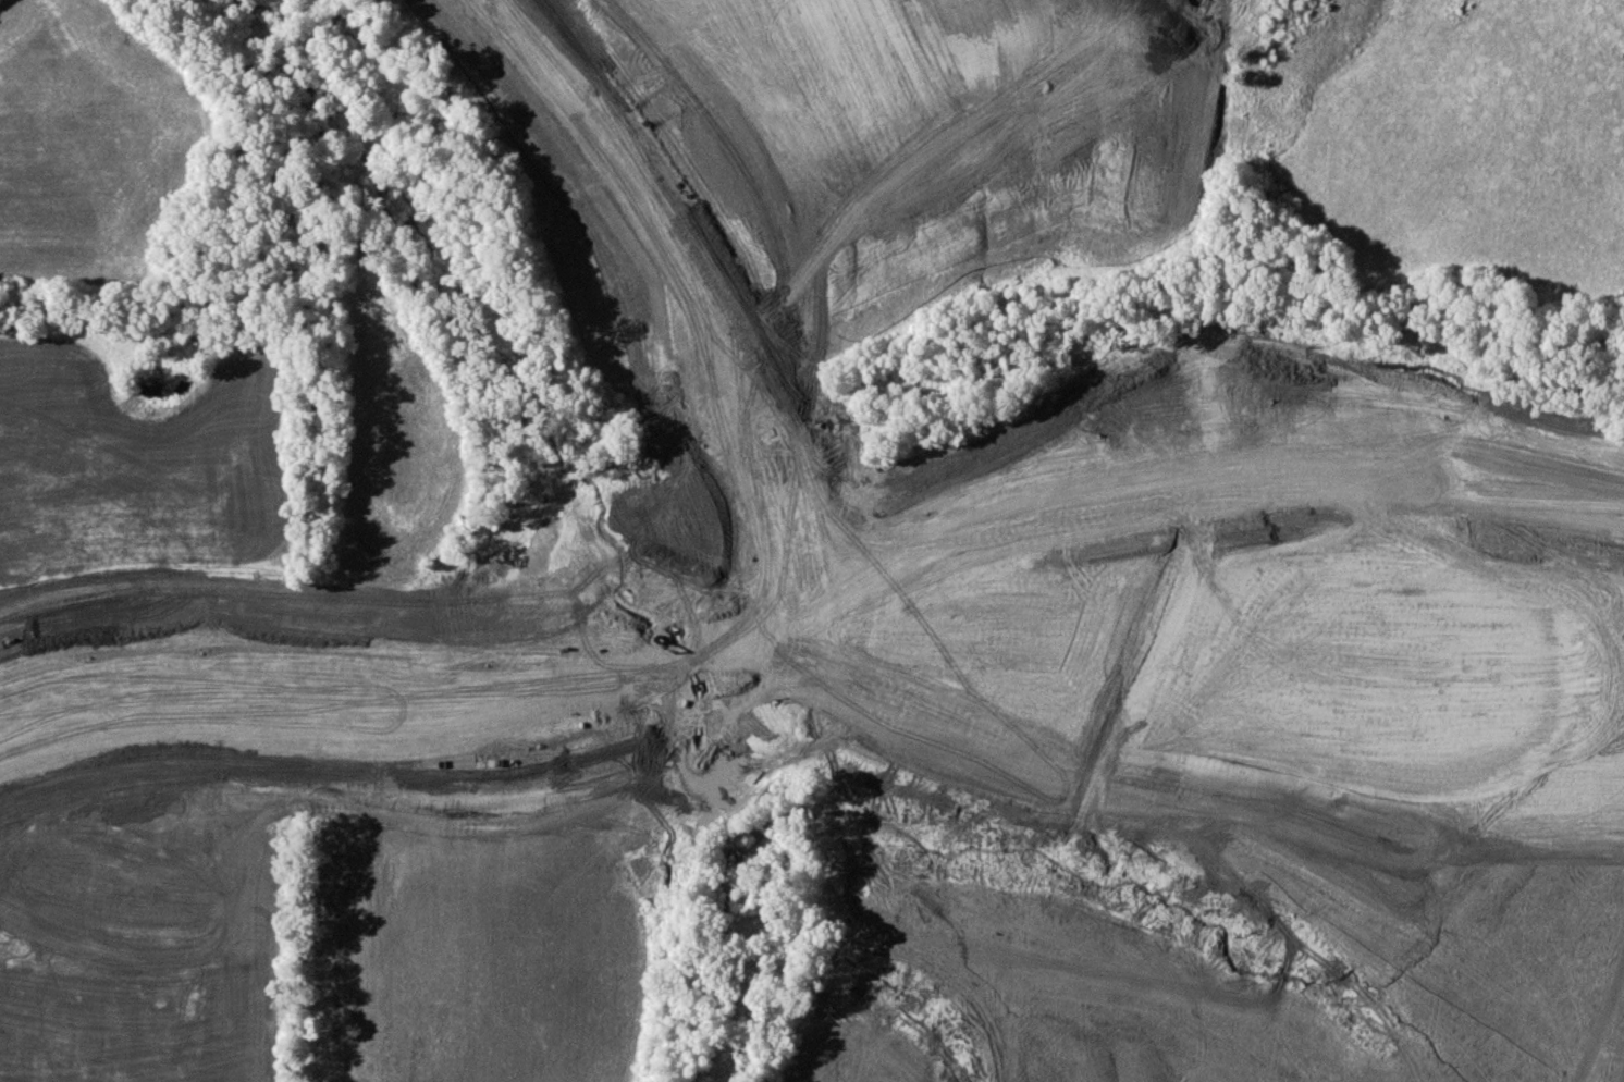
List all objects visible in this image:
crop: (939, 133)
crop: (95, 156)
road: (652, 222)
road: (698, 239)
road: (1160, 396)
road: (1209, 418)
road: (1222, 465)
road: (778, 521)
road: (765, 529)
road: (833, 571)
road: (878, 577)
road: (747, 632)
road: (442, 656)
road: (389, 678)
road: (835, 688)
road: (405, 729)

